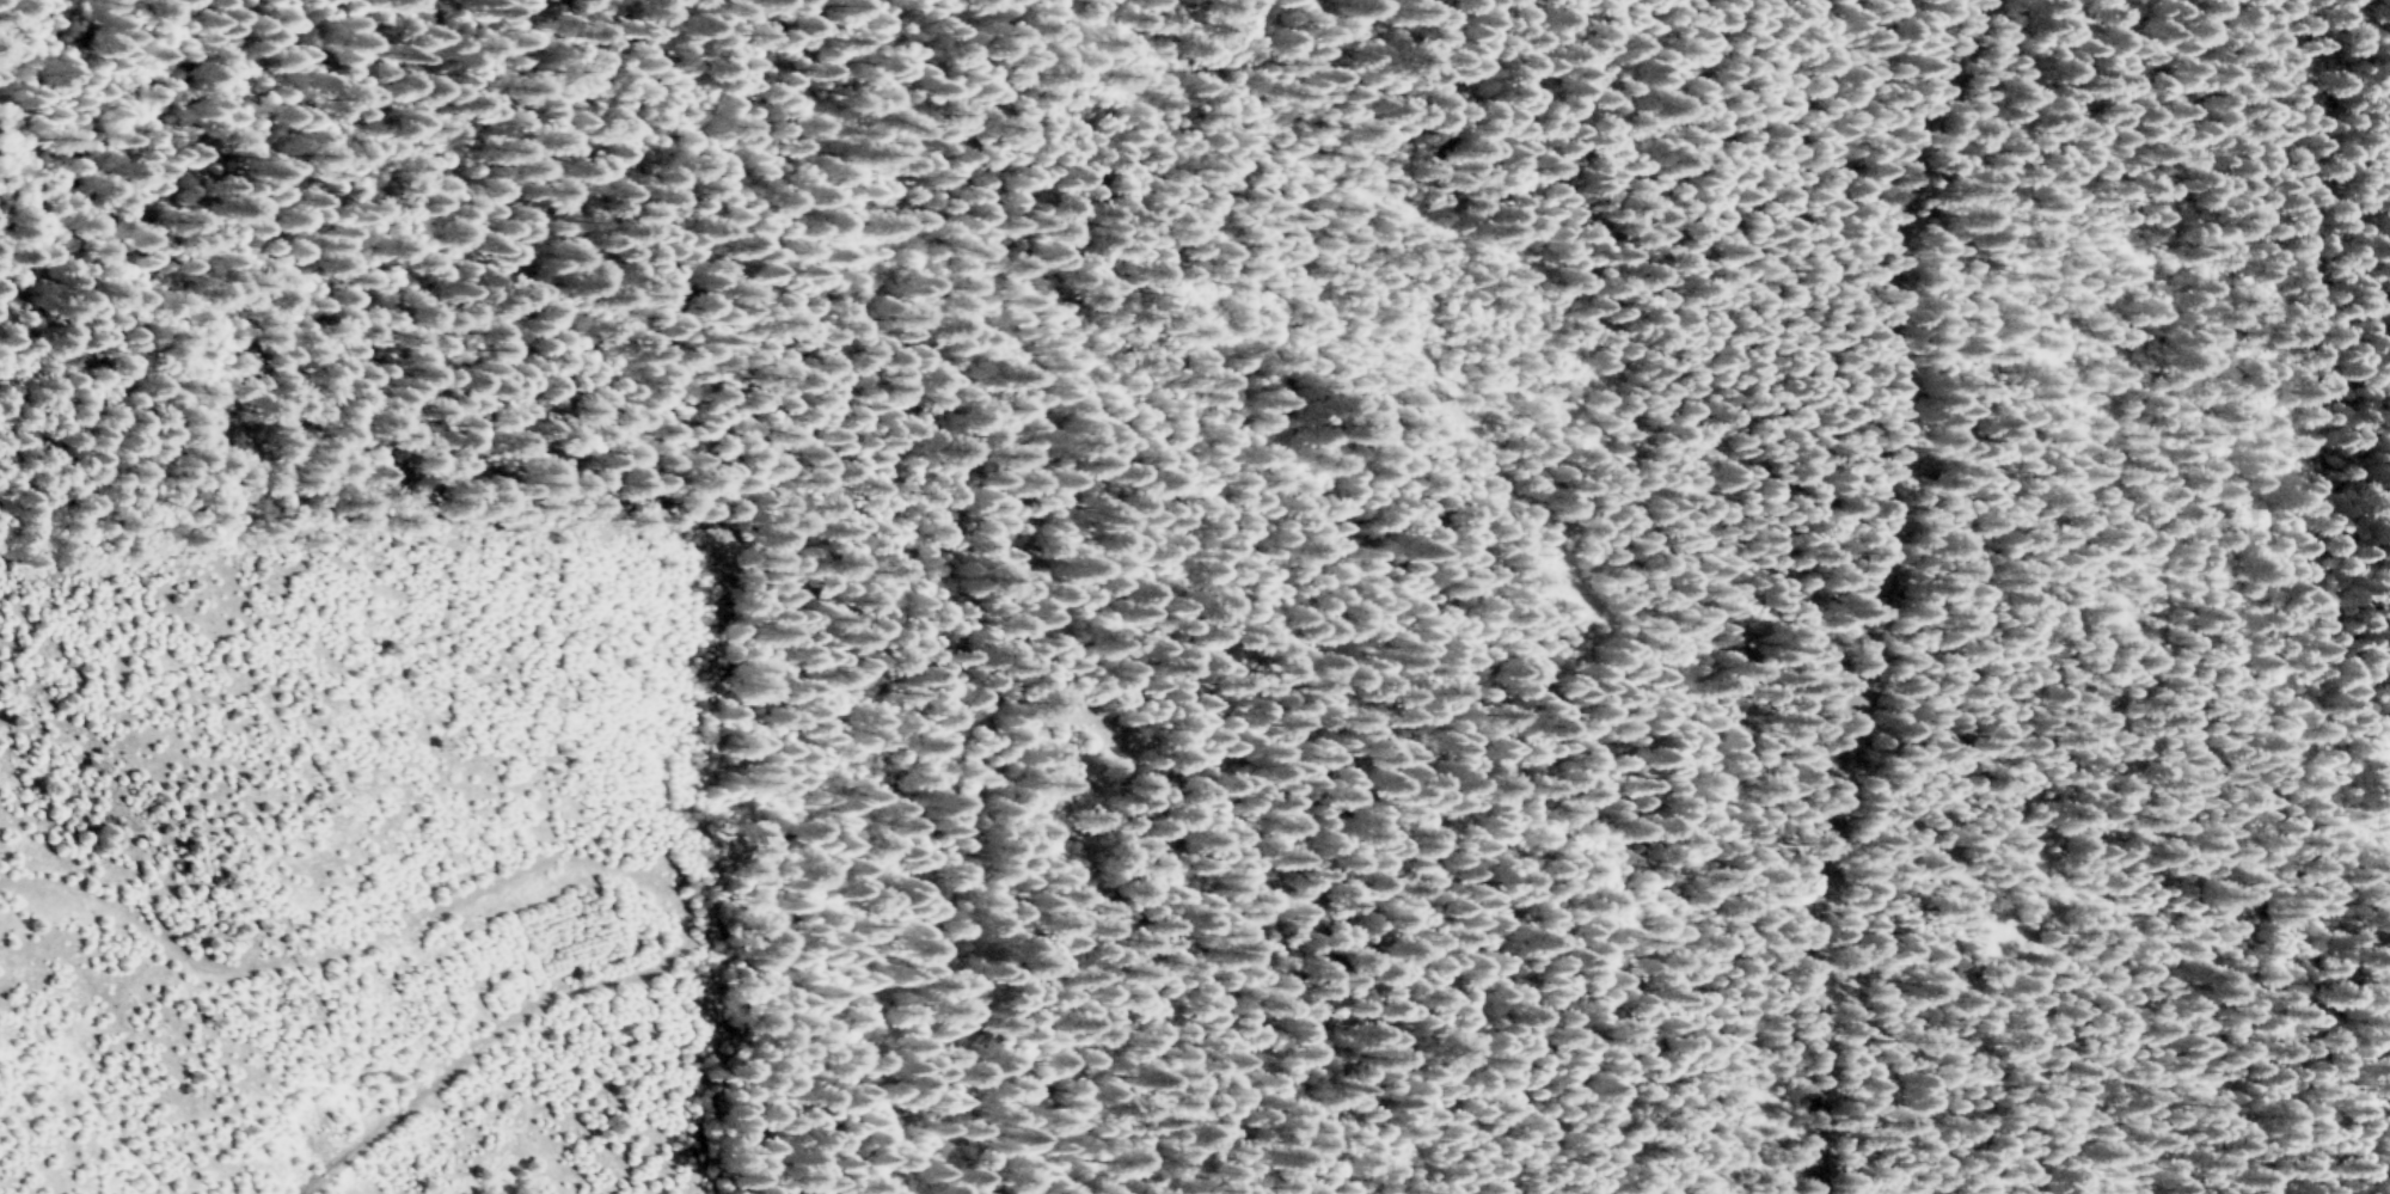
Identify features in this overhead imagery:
road: (1869, 592)

